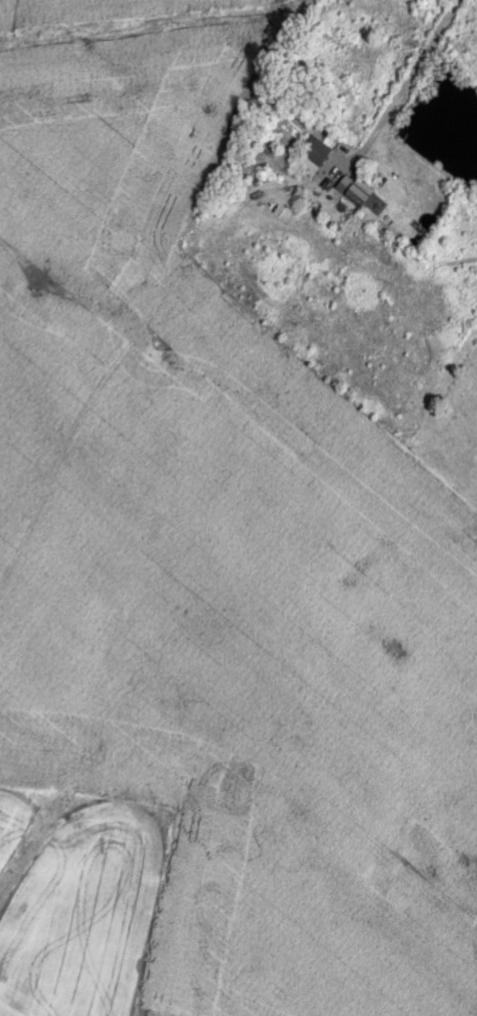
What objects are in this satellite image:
road: (410, 85)
building: (318, 157)
building: (360, 194)

